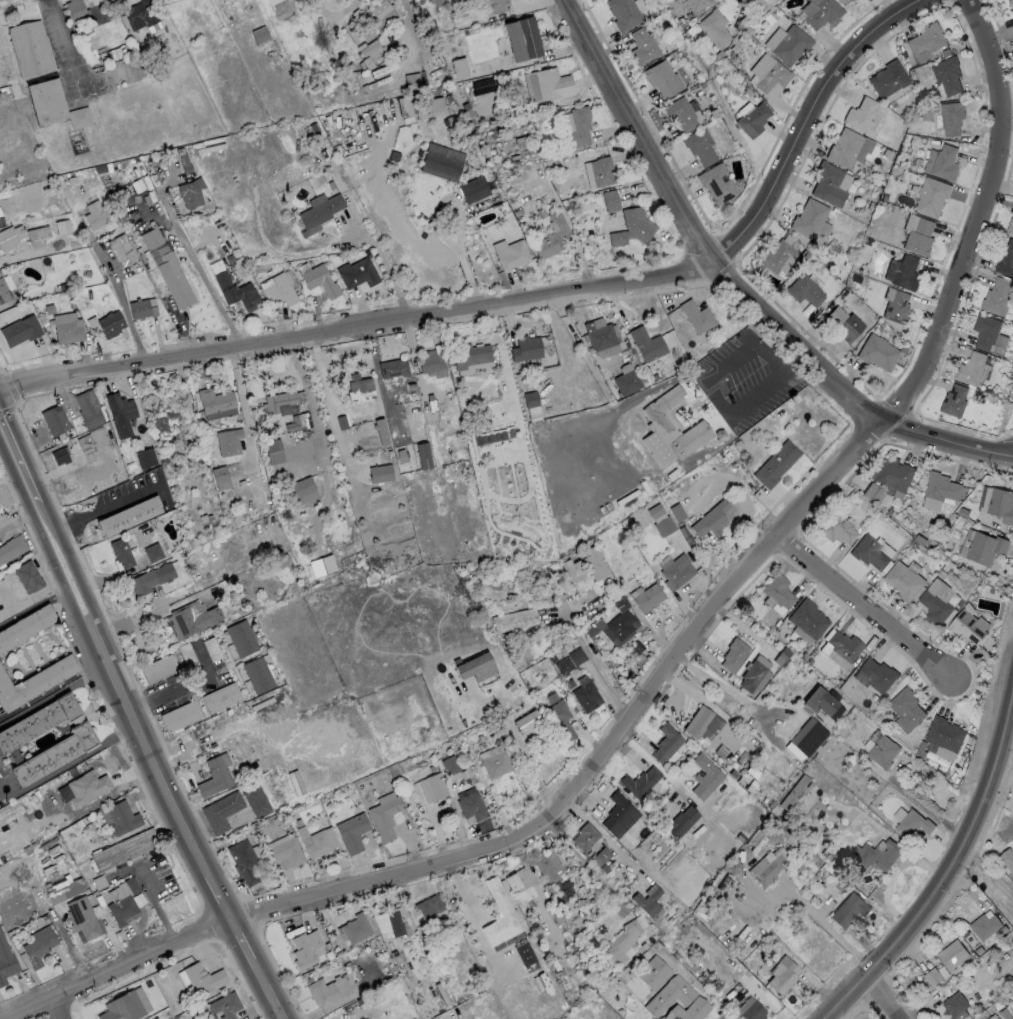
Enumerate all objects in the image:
building: (850, 0)
building: (698, 4)
building: (1010, 4)
building: (497, 5)
road: (333, 9)
building: (380, 9)
building: (75, 11)
building: (823, 12)
building: (623, 13)
building: (141, 14)
building: (714, 27)
road: (410, 29)
building: (260, 35)
building: (522, 38)
building: (926, 39)
building: (790, 44)
building: (642, 46)
building: (28, 48)
building: (380, 61)
building: (430, 63)
building: (459, 68)
building: (946, 75)
building: (371, 76)
building: (771, 77)
building: (662, 78)
building: (887, 78)
building: (551, 84)
building: (414, 99)
building: (46, 101)
building: (679, 113)
building: (859, 114)
building: (79, 117)
road: (807, 117)
building: (951, 118)
building: (752, 119)
building: (579, 126)
road: (640, 131)
building: (699, 146)
building: (844, 147)
building: (442, 161)
building: (944, 163)
building: (602, 171)
building: (716, 183)
building: (827, 184)
building: (473, 189)
building: (190, 193)
building: (931, 196)
building: (610, 200)
building: (321, 211)
building: (95, 215)
building: (808, 218)
building: (1009, 227)
building: (631, 228)
building: (22, 237)
building: (550, 237)
building: (919, 237)
building: (122, 249)
building: (512, 255)
building: (777, 256)
building: (1005, 260)
building: (168, 267)
road: (385, 267)
building: (86, 273)
building: (357, 273)
building: (905, 273)
road: (207, 280)
building: (320, 280)
building: (63, 286)
building: (233, 287)
building: (278, 289)
building: (805, 290)
building: (5, 292)
building: (75, 293)
building: (997, 296)
building: (896, 307)
building: (142, 309)
building: (696, 316)
building: (110, 324)
road: (356, 324)
building: (844, 324)
building: (67, 327)
building: (20, 330)
building: (984, 331)
building: (600, 333)
building: (647, 344)
building: (526, 348)
road: (738, 351)
building: (877, 352)
building: (471, 355)
building: (432, 361)
building: (1011, 367)
building: (393, 368)
building: (970, 369)
building: (655, 376)
road: (776, 377)
building: (627, 382)
road: (842, 388)
building: (361, 394)
building: (277, 401)
building: (953, 401)
building: (216, 402)
building: (431, 403)
building: (531, 405)
road: (332, 407)
building: (88, 408)
building: (120, 413)
building: (162, 417)
building: (54, 419)
building: (299, 422)
building: (342, 423)
building: (407, 426)
building: (671, 429)
building: (382, 431)
building: (98, 438)
building: (229, 440)
building: (273, 450)
road: (1010, 454)
building: (60, 455)
building: (401, 455)
building: (423, 455)
road: (1010, 455)
road: (1010, 456)
building: (145, 457)
building: (775, 463)
road: (27, 464)
building: (129, 465)
building: (380, 473)
building: (224, 474)
building: (893, 475)
building: (941, 488)
road: (18, 489)
building: (303, 490)
building: (873, 493)
building: (1000, 505)
road: (105, 507)
building: (677, 512)
building: (127, 515)
building: (205, 519)
building: (711, 519)
building: (664, 525)
building: (836, 529)
building: (685, 533)
building: (11, 548)
building: (985, 549)
building: (152, 551)
building: (120, 552)
building: (869, 552)
road: (69, 555)
building: (282, 560)
road: (52, 563)
building: (595, 563)
building: (321, 566)
building: (496, 568)
building: (675, 570)
building: (576, 573)
building: (27, 576)
building: (149, 578)
building: (902, 581)
building: (776, 592)
building: (646, 597)
road: (869, 602)
building: (936, 602)
road: (33, 614)
building: (808, 618)
building: (191, 619)
building: (513, 619)
road: (92, 620)
road: (84, 626)
building: (621, 626)
building: (965, 627)
building: (26, 628)
building: (591, 631)
building: (242, 637)
building: (840, 647)
building: (212, 649)
building: (635, 652)
building: (733, 654)
building: (781, 656)
building: (803, 656)
building: (187, 657)
building: (552, 659)
building: (520, 660)
building: (544, 660)
building: (570, 660)
road: (595, 663)
road: (668, 663)
building: (475, 666)
building: (158, 668)
building: (258, 674)
building: (754, 674)
building: (875, 675)
building: (34, 681)
road: (50, 686)
road: (722, 687)
road: (170, 690)
building: (586, 694)
road: (52, 695)
building: (552, 697)
building: (220, 698)
building: (822, 702)
building: (905, 709)
building: (179, 716)
building: (560, 719)
building: (527, 720)
building: (705, 724)
building: (943, 735)
building: (496, 737)
building: (479, 738)
building: (77, 739)
building: (805, 739)
building: (666, 743)
road: (518, 750)
building: (883, 751)
building: (496, 761)
road: (70, 763)
road: (157, 763)
building: (450, 765)
building: (395, 769)
building: (751, 771)
building: (731, 773)
building: (215, 774)
building: (463, 774)
building: (704, 776)
building: (642, 782)
building: (749, 786)
building: (86, 787)
building: (432, 787)
building: (794, 793)
building: (256, 801)
building: (470, 804)
building: (221, 811)
building: (619, 814)
building: (384, 815)
building: (120, 817)
building: (266, 822)
building: (297, 822)
building: (680, 822)
building: (913, 825)
building: (352, 832)
road: (991, 834)
building: (585, 836)
building: (737, 836)
building: (317, 841)
building: (124, 849)
building: (284, 850)
building: (878, 853)
building: (600, 859)
building: (1006, 859)
building: (244, 861)
road: (953, 861)
building: (549, 865)
building: (763, 868)
road: (987, 872)
building: (519, 884)
building: (64, 891)
road: (218, 894)
building: (646, 901)
building: (429, 906)
building: (121, 909)
building: (848, 909)
building: (501, 917)
building: (82, 919)
building: (393, 921)
building: (983, 926)
building: (354, 928)
road: (247, 932)
road: (831, 933)
road: (232, 939)
building: (621, 941)
building: (304, 947)
building: (38, 948)
building: (525, 955)
building: (951, 955)
building: (6, 961)
building: (651, 972)
building: (782, 976)
building: (931, 977)
building: (202, 978)
road: (275, 987)
road: (259, 990)
building: (321, 991)
building: (673, 996)
road: (886, 997)
building: (954, 1004)
building: (224, 1005)
road: (62, 1007)
building: (121, 1007)
building: (749, 1008)

